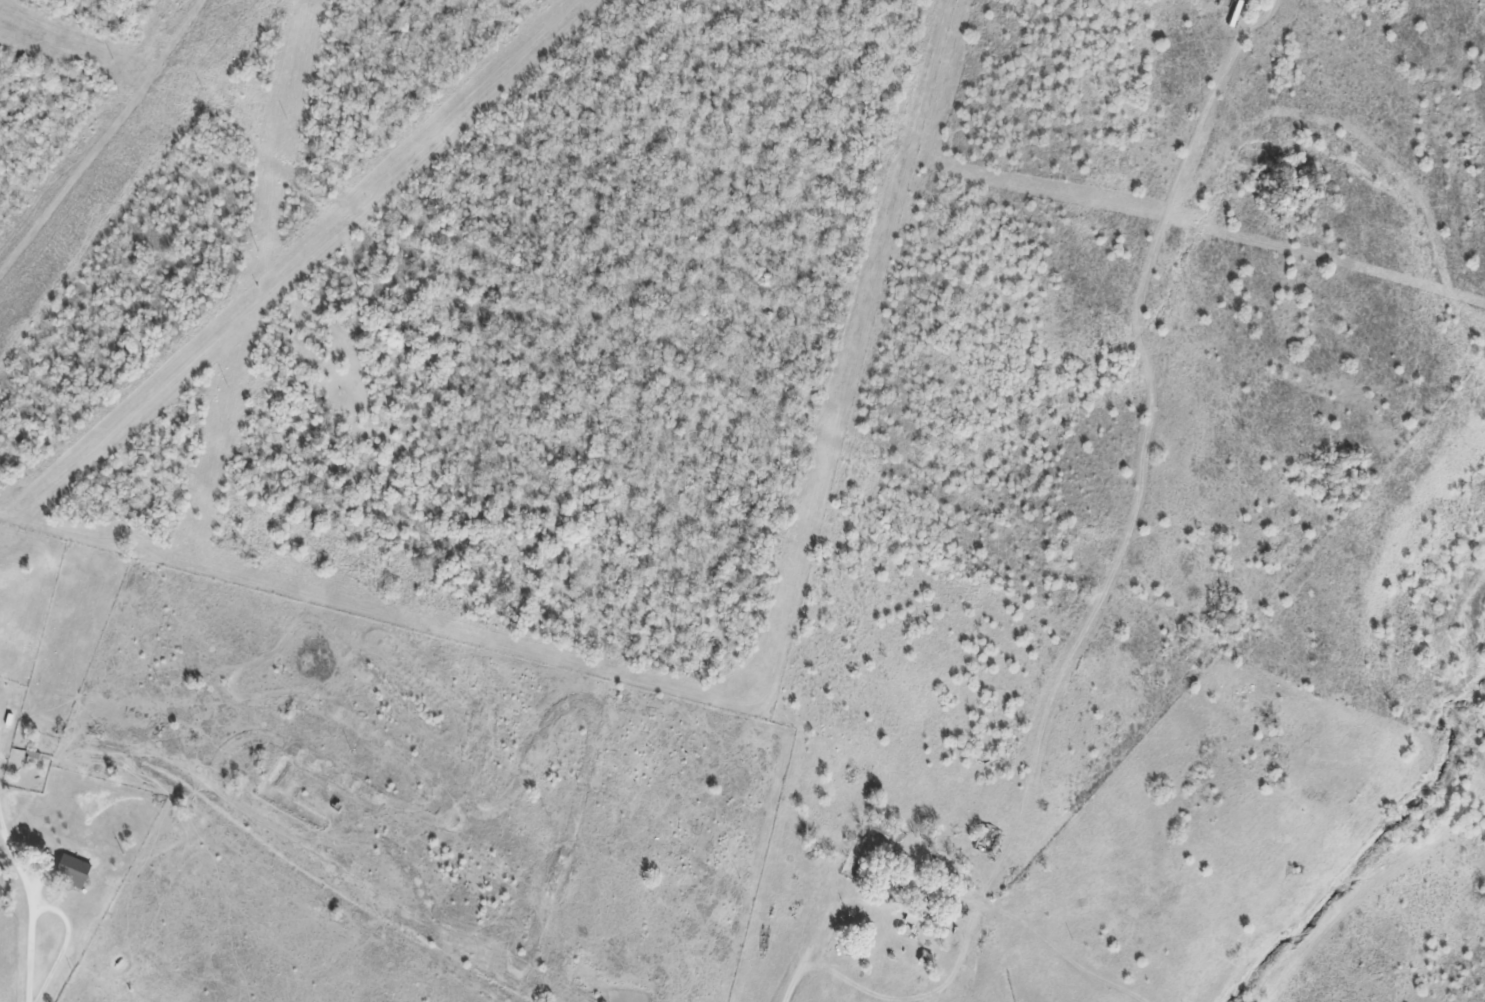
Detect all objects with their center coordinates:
building: (1, 715)
building: (12, 728)
building: (39, 758)
building: (991, 839)
building: (78, 871)
building: (885, 912)

